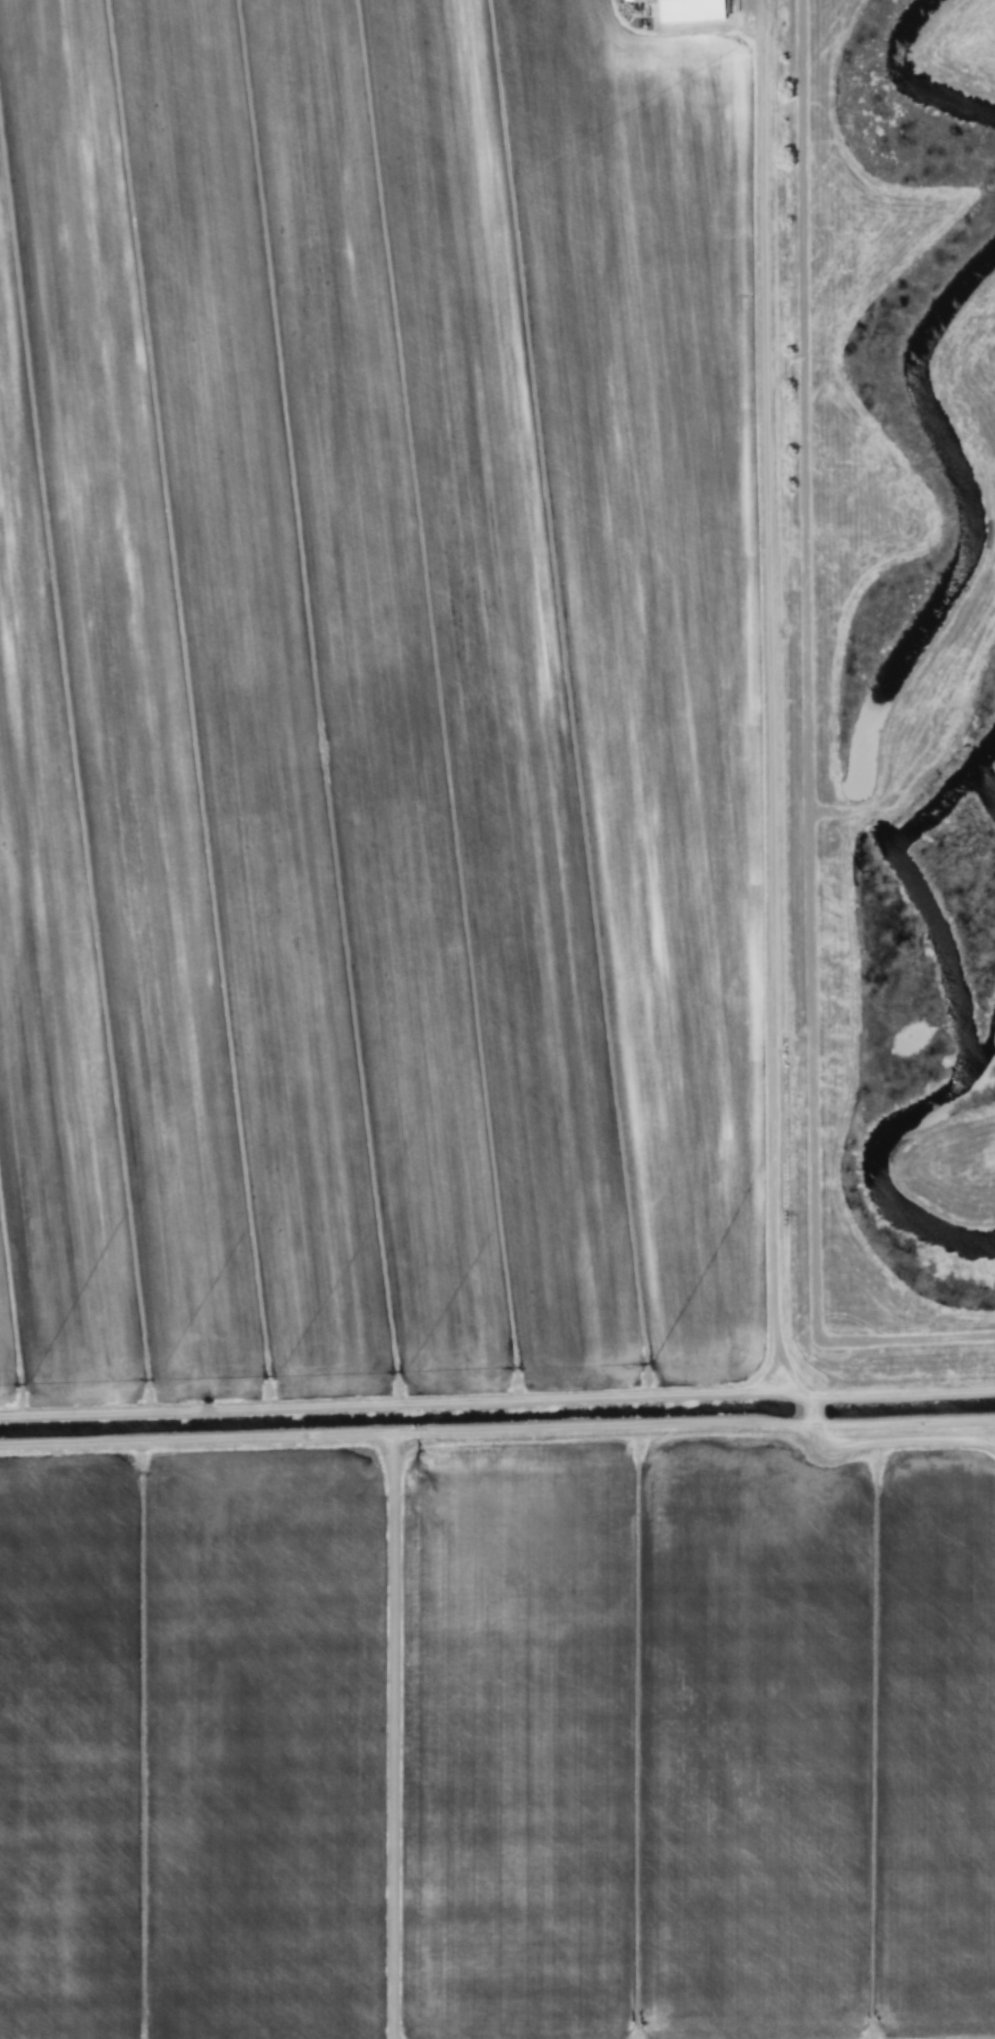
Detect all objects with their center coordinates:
building: (691, 10)

